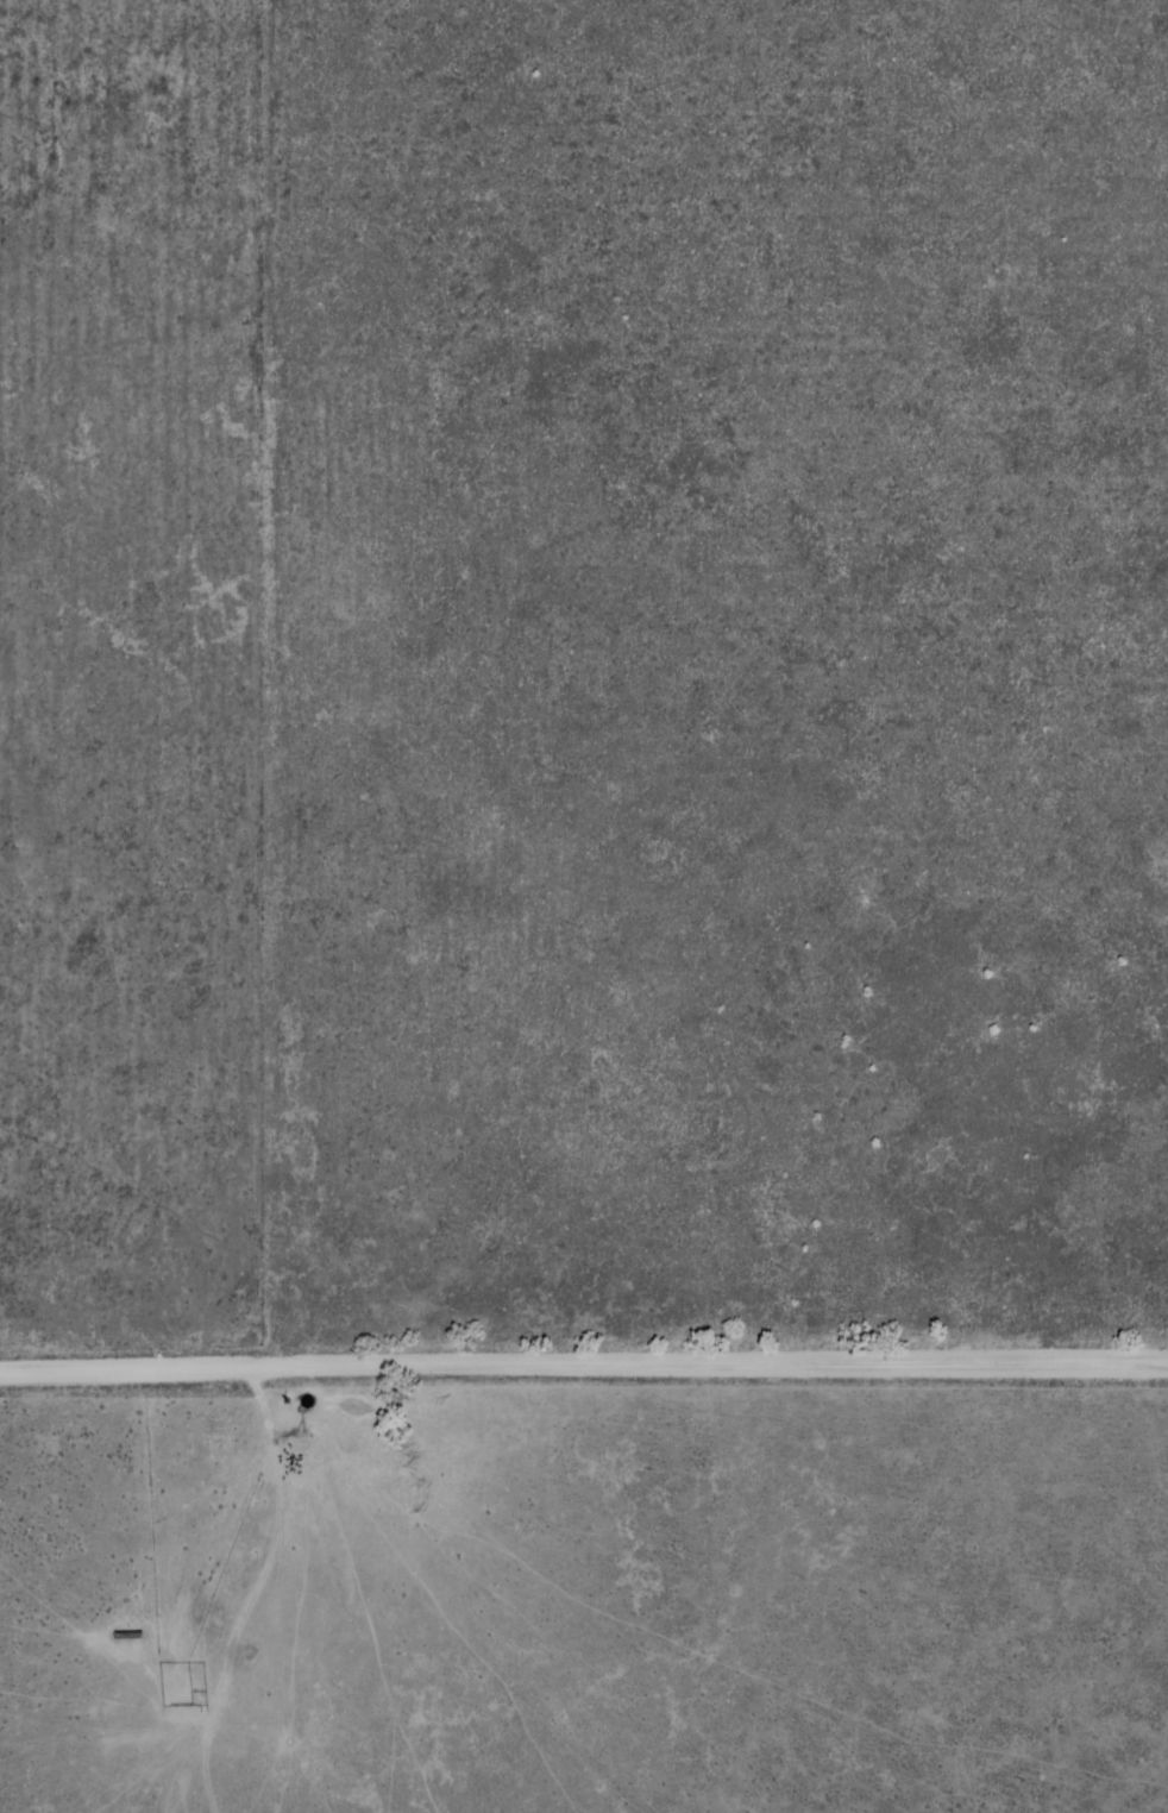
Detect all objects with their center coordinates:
road: (584, 1367)
building: (127, 1633)

